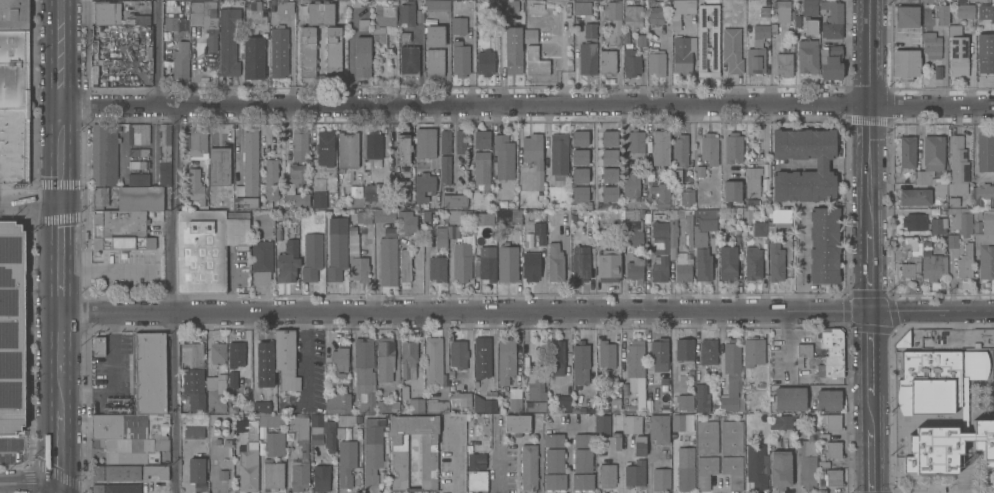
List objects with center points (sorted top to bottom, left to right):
building: (977, 0)
building: (931, 1)
building: (655, 3)
building: (436, 5)
building: (284, 6)
building: (507, 6)
building: (683, 6)
building: (461, 7)
building: (581, 7)
building: (534, 8)
building: (809, 8)
building: (781, 9)
building: (832, 10)
building: (965, 10)
building: (107, 13)
building: (320, 13)
building: (407, 13)
building: (941, 13)
building: (992, 13)
building: (203, 14)
building: (384, 14)
building: (632, 15)
building: (655, 15)
building: (906, 16)
building: (140, 19)
building: (257, 21)
building: (176, 22)
building: (614, 22)
building: (458, 25)
building: (810, 26)
building: (831, 30)
building: (590, 31)
building: (378, 34)
building: (434, 35)
building: (530, 35)
building: (210, 38)
building: (228, 41)
building: (714, 42)
building: (931, 45)
building: (758, 46)
building: (732, 49)
building: (307, 51)
building: (333, 51)
building: (957, 51)
building: (279, 52)
road: (157, 53)
building: (682, 54)
road: (869, 54)
building: (985, 54)
building: (362, 56)
building: (807, 56)
building: (253, 57)
building: (460, 58)
building: (587, 58)
building: (180, 60)
building: (409, 60)
building: (513, 61)
building: (607, 61)
building: (830, 61)
building: (435, 62)
building: (485, 62)
building: (535, 62)
building: (631, 62)
building: (656, 63)
building: (783, 63)
building: (906, 63)
building: (936, 72)
building: (14, 91)
road: (61, 104)
road: (465, 107)
road: (931, 108)
building: (138, 133)
building: (580, 137)
building: (609, 137)
building: (481, 138)
building: (445, 141)
building: (460, 141)
building: (197, 142)
building: (425, 142)
building: (636, 143)
building: (299, 144)
building: (325, 147)
building: (660, 147)
building: (733, 147)
building: (372, 148)
building: (709, 148)
building: (680, 149)
building: (348, 150)
building: (985, 151)
building: (138, 152)
building: (907, 152)
building: (164, 153)
building: (533, 153)
building: (104, 154)
building: (504, 156)
building: (580, 156)
building: (609, 156)
building: (559, 157)
building: (401, 158)
building: (957, 159)
building: (932, 163)
building: (138, 164)
building: (821, 164)
building: (219, 165)
building: (445, 169)
building: (248, 173)
building: (296, 174)
building: (580, 174)
building: (609, 174)
building: (480, 176)
building: (271, 177)
building: (138, 178)
building: (752, 181)
building: (634, 184)
building: (424, 186)
building: (195, 188)
building: (732, 190)
building: (356, 191)
building: (371, 192)
building: (580, 193)
building: (609, 193)
building: (659, 195)
building: (982, 195)
building: (686, 196)
building: (914, 196)
building: (295, 197)
building: (98, 198)
building: (139, 198)
building: (318, 199)
building: (453, 200)
road: (31, 209)
traffic signals: (62, 209)
road: (171, 209)
road: (869, 211)
building: (630, 213)
building: (765, 213)
building: (384, 214)
building: (508, 215)
building: (428, 216)
building: (363, 217)
building: (706, 218)
building: (484, 219)
building: (781, 220)
building: (961, 220)
building: (915, 221)
building: (406, 222)
building: (987, 223)
building: (123, 224)
building: (937, 225)
building: (659, 228)
building: (760, 228)
building: (539, 232)
building: (634, 232)
building: (441, 235)
building: (679, 235)
building: (699, 237)
building: (952, 240)
building: (907, 243)
building: (660, 245)
building: (824, 245)
building: (205, 247)
road: (61, 252)
building: (336, 255)
building: (311, 256)
road: (799, 260)
building: (261, 261)
building: (287, 261)
building: (387, 261)
building: (775, 261)
building: (965, 261)
building: (986, 261)
building: (461, 262)
building: (555, 262)
building: (728, 262)
building: (507, 263)
building: (580, 263)
building: (753, 263)
building: (702, 264)
building: (405, 265)
building: (531, 265)
building: (608, 265)
building: (933, 265)
building: (437, 266)
building: (487, 267)
building: (359, 268)
building: (659, 268)
building: (910, 269)
building: (633, 270)
building: (682, 272)
road: (429, 312)
road: (931, 313)
road: (834, 314)
building: (12, 328)
road: (59, 333)
building: (901, 340)
building: (823, 344)
building: (98, 345)
building: (659, 349)
building: (685, 349)
building: (708, 351)
building: (753, 351)
building: (218, 353)
building: (458, 353)
building: (236, 354)
building: (606, 354)
building: (481, 357)
building: (556, 357)
building: (286, 358)
building: (385, 358)
building: (408, 358)
building: (338, 361)
building: (433, 361)
building: (505, 361)
building: (580, 361)
building: (803, 361)
building: (263, 364)
building: (829, 366)
building: (635, 372)
building: (149, 373)
building: (364, 373)
building: (193, 374)
building: (732, 377)
building: (232, 380)
building: (936, 380)
building: (261, 383)
building: (536, 388)
road: (59, 390)
building: (215, 394)
building: (701, 398)
building: (789, 398)
building: (459, 399)
building: (515, 399)
building: (828, 399)
road: (171, 402)
building: (337, 402)
building: (564, 403)
building: (608, 403)
building: (683, 403)
road: (872, 403)
building: (483, 404)
building: (416, 405)
building: (436, 405)
building: (383, 406)
building: (534, 406)
building: (260, 407)
building: (271, 419)
building: (780, 420)
building: (830, 421)
building: (677, 422)
building: (516, 424)
building: (631, 424)
building: (128, 425)
building: (602, 425)
building: (316, 426)
building: (659, 428)
building: (194, 432)
building: (329, 434)
building: (706, 436)
building: (731, 436)
building: (553, 439)
building: (582, 440)
building: (613, 441)
building: (98, 443)
building: (274, 443)
road: (10, 444)
building: (640, 445)
road: (58, 446)
building: (138, 446)
building: (304, 448)
building: (946, 448)
building: (372, 449)
building: (833, 449)
building: (124, 458)
building: (249, 459)
building: (807, 459)
road: (458, 460)
building: (554, 460)
building: (582, 460)
building: (346, 461)
building: (399, 462)
building: (823, 463)
building: (755, 465)
building: (528, 466)
building: (685, 468)
building: (195, 469)
building: (780, 469)
building: (732, 470)
building: (155, 471)
building: (475, 471)
building: (704, 471)
building: (97, 472)
building: (122, 472)
building: (634, 474)
building: (272, 475)
building: (607, 475)
building: (321, 477)
building: (833, 477)
building: (821, 478)
building: (661, 479)
building: (554, 481)
building: (582, 481)
road: (29, 483)
traffic signals: (58, 483)
road: (58, 488)
building: (97, 488)
building: (122, 488)

